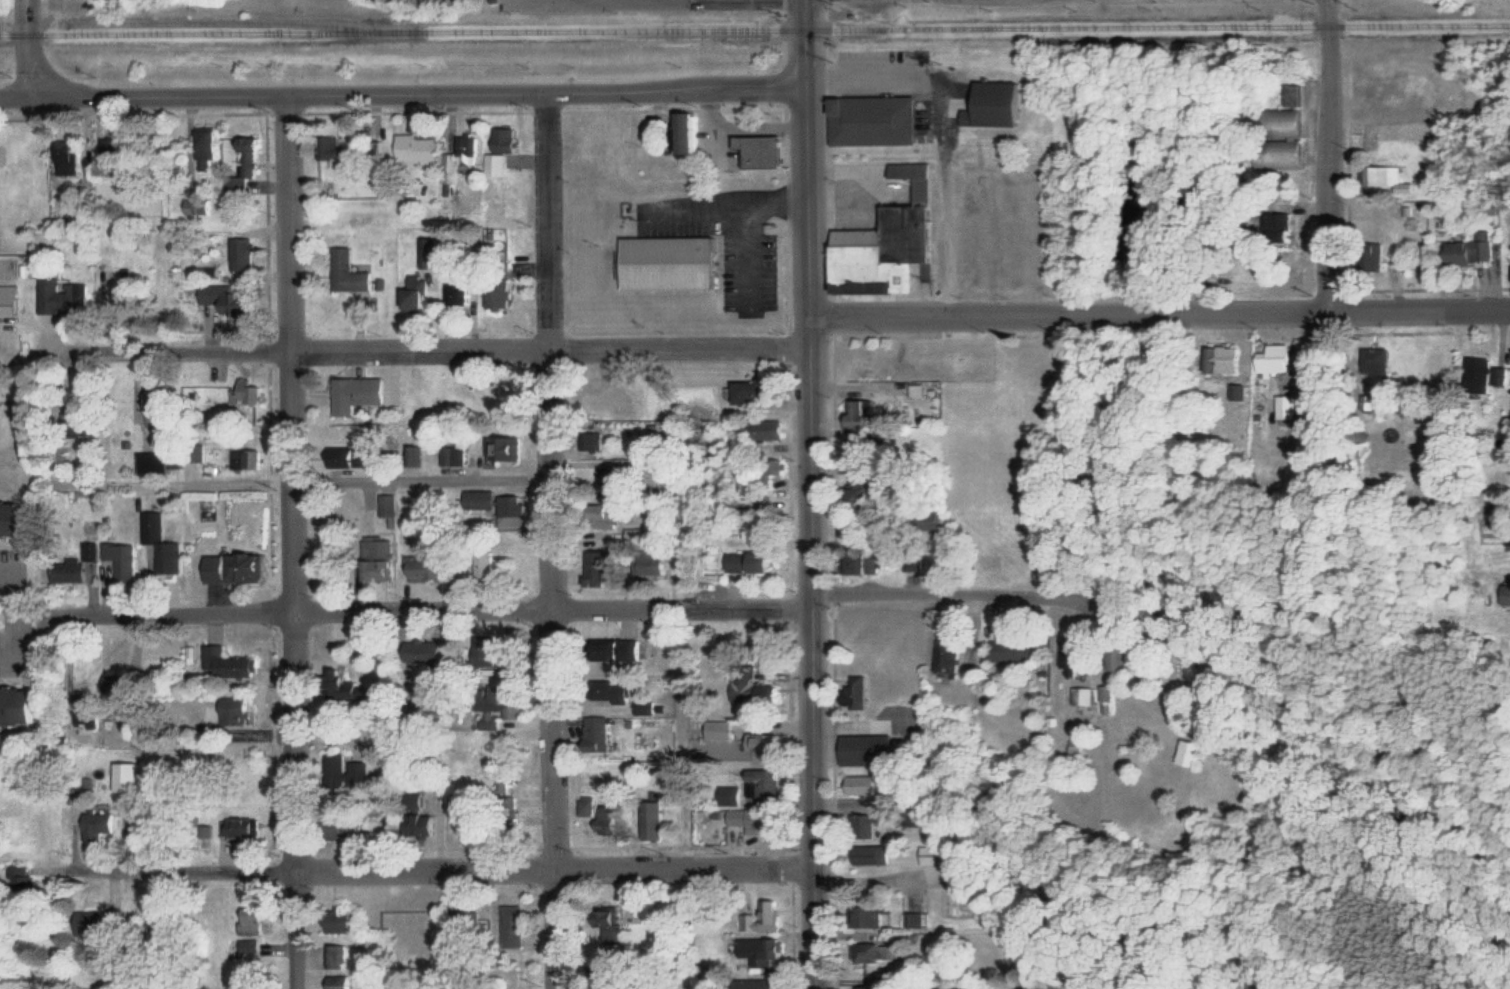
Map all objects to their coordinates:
railway: (201, 21)
railway: (754, 27)
road: (29, 46)
road: (403, 92)
building: (1295, 95)
building: (1000, 105)
building: (875, 120)
building: (1290, 122)
building: (210, 148)
building: (421, 148)
building: (504, 150)
building: (72, 151)
building: (377, 151)
building: (765, 151)
building: (1297, 153)
building: (346, 154)
road: (1329, 155)
building: (465, 160)
building: (246, 173)
building: (1393, 175)
building: (200, 207)
building: (893, 242)
building: (1467, 251)
building: (244, 254)
building: (1374, 260)
building: (676, 263)
building: (353, 273)
building: (421, 293)
building: (466, 295)
building: (503, 296)
building: (67, 297)
building: (235, 299)
road: (1159, 312)
road: (439, 345)
building: (1229, 358)
building: (1310, 359)
building: (1380, 360)
building: (1278, 362)
building: (956, 365)
building: (1482, 370)
building: (755, 390)
building: (253, 392)
building: (363, 392)
building: (606, 404)
building: (1289, 406)
building: (162, 408)
building: (865, 412)
building: (94, 429)
building: (772, 429)
building: (510, 448)
building: (863, 449)
building: (457, 454)
building: (61, 455)
building: (420, 455)
building: (161, 463)
building: (771, 471)
road: (319, 472)
building: (866, 488)
building: (612, 490)
road: (811, 494)
building: (485, 499)
building: (608, 516)
building: (16, 519)
building: (941, 521)
building: (640, 533)
road: (551, 540)
road: (294, 541)
building: (165, 543)
building: (124, 559)
building: (384, 559)
building: (654, 562)
building: (755, 562)
building: (872, 562)
building: (77, 564)
building: (239, 568)
building: (431, 568)
building: (606, 569)
road: (954, 594)
building: (1508, 595)
road: (441, 607)
building: (623, 650)
building: (494, 651)
building: (1018, 651)
building: (429, 652)
building: (1075, 654)
building: (954, 657)
building: (230, 663)
building: (749, 681)
building: (361, 689)
building: (619, 692)
building: (860, 692)
building: (776, 693)
building: (108, 701)
building: (504, 706)
building: (20, 707)
building: (650, 708)
building: (242, 710)
building: (739, 732)
building: (602, 734)
building: (875, 749)
building: (1196, 749)
building: (350, 771)
building: (868, 785)
building: (769, 787)
building: (734, 797)
building: (419, 801)
building: (591, 808)
building: (742, 818)
building: (616, 819)
building: (350, 821)
building: (657, 821)
building: (776, 824)
building: (102, 825)
building: (426, 825)
building: (871, 826)
building: (245, 828)
building: (879, 854)
building: (946, 854)
road: (446, 866)
building: (25, 879)
building: (879, 916)
building: (767, 918)
building: (258, 920)
building: (110, 921)
building: (350, 921)
building: (474, 924)
building: (613, 924)
building: (518, 927)
building: (256, 946)
building: (891, 950)
building: (760, 951)
building: (342, 956)
road: (1076, 971)
building: (344, 982)
building: (758, 983)
building: (614, 987)

